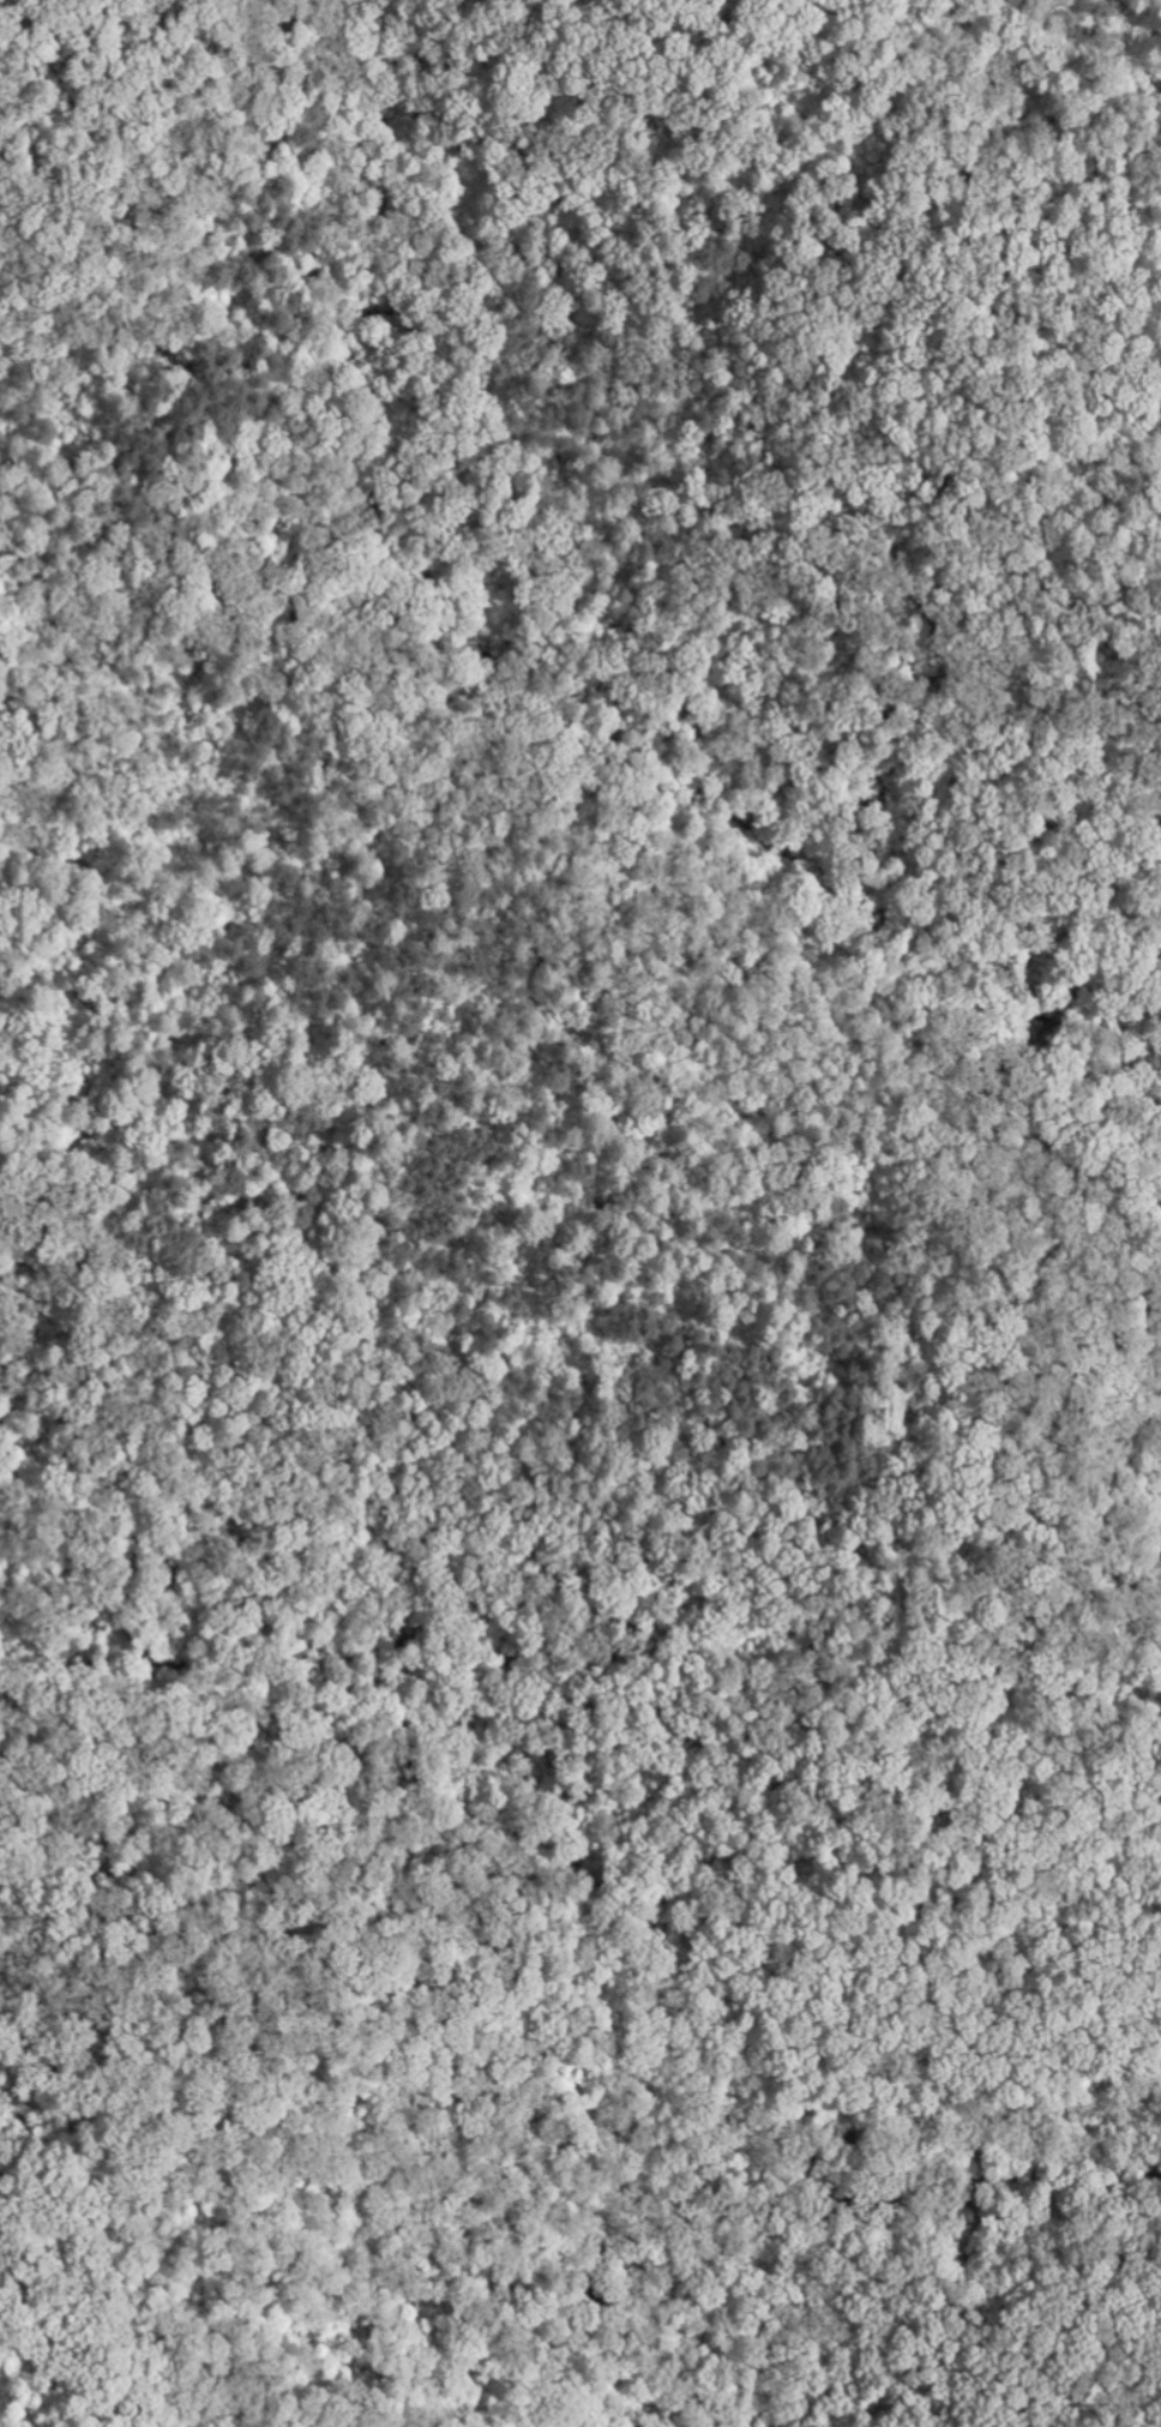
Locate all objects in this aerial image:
road: (246, 2211)
road: (907, 2293)

